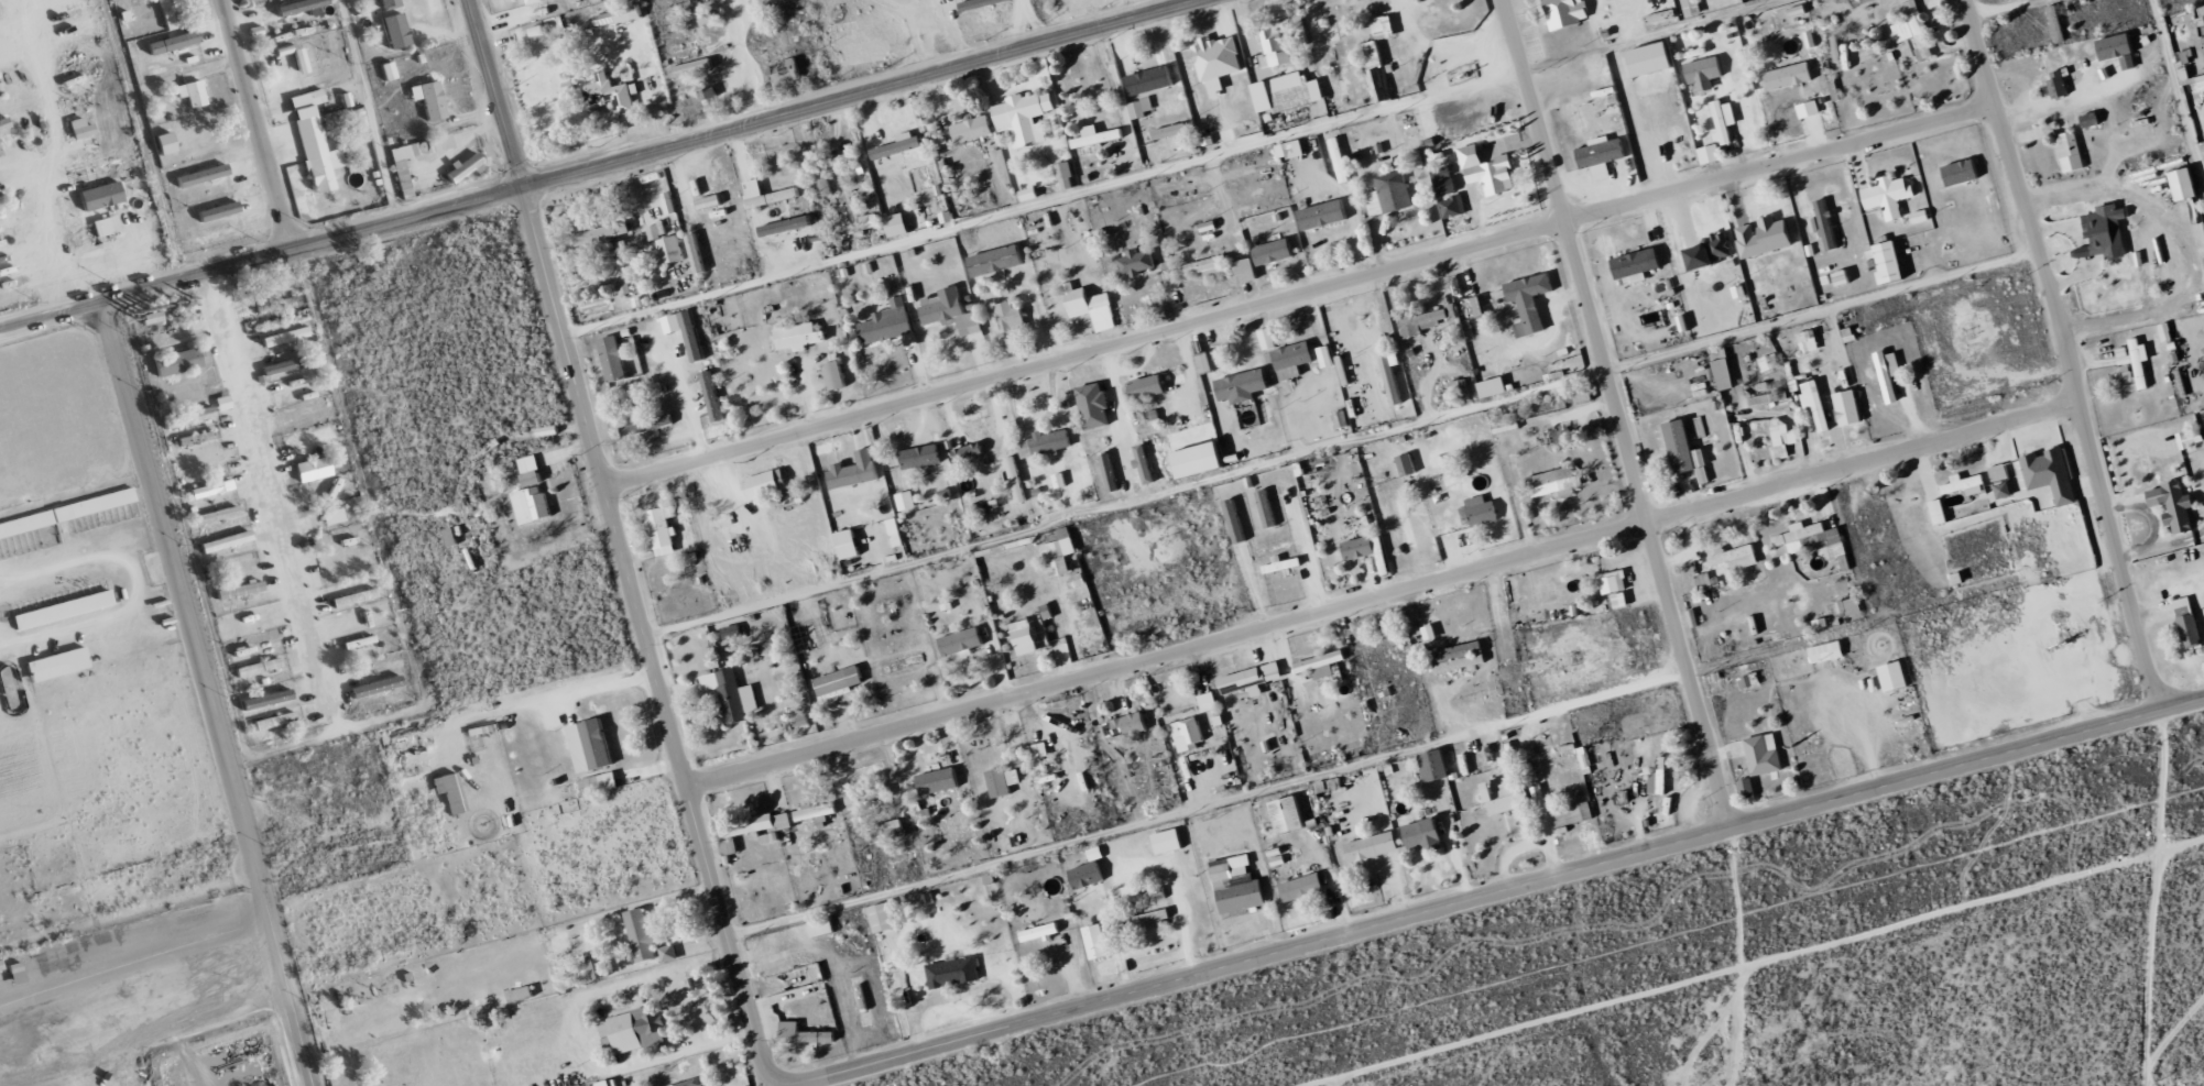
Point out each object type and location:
building: (531, 0)
building: (1611, 0)
building: (389, 3)
building: (981, 3)
building: (299, 6)
road: (1119, 7)
building: (1692, 8)
building: (1565, 12)
building: (168, 14)
building: (619, 15)
building: (711, 17)
building: (2051, 23)
building: (1384, 26)
building: (1913, 29)
building: (395, 31)
building: (173, 42)
building: (1275, 45)
building: (2110, 48)
road: (740, 57)
building: (1654, 58)
building: (1218, 62)
building: (310, 64)
building: (785, 70)
building: (1375, 72)
building: (1704, 73)
building: (1789, 76)
building: (1149, 80)
building: (2052, 83)
building: (192, 92)
building: (611, 92)
building: (1288, 92)
building: (429, 99)
building: (1142, 108)
building: (1809, 109)
building: (1026, 117)
building: (2083, 119)
building: (1724, 121)
building: (3, 124)
road: (254, 124)
building: (1428, 124)
building: (80, 128)
building: (973, 128)
building: (1171, 131)
building: (1095, 136)
building: (314, 142)
building: (439, 143)
building: (898, 147)
building: (1290, 149)
building: (2064, 151)
road: (56, 154)
building: (1602, 155)
building: (1340, 157)
road: (589, 164)
building: (465, 166)
building: (1487, 171)
building: (1962, 172)
building: (201, 175)
building: (1066, 175)
building: (402, 177)
building: (1444, 180)
building: (2175, 184)
building: (766, 194)
building: (1389, 194)
building: (100, 195)
building: (1889, 195)
building: (709, 201)
building: (1452, 206)
building: (218, 211)
building: (1323, 215)
building: (869, 221)
building: (1824, 223)
building: (897, 224)
building: (105, 226)
building: (786, 226)
building: (655, 231)
building: (2102, 231)
building: (602, 233)
building: (1765, 237)
building: (670, 249)
building: (1275, 252)
building: (1710, 252)
building: (697, 253)
building: (996, 260)
building: (1137, 262)
building: (1890, 262)
building: (1637, 265)
building: (1211, 266)
building: (1246, 270)
building: (1843, 277)
road: (1299, 296)
building: (1530, 301)
building: (1089, 303)
building: (950, 310)
building: (1011, 316)
building: (1425, 321)
building: (692, 336)
building: (284, 337)
building: (799, 337)
building: (1267, 338)
building: (1809, 341)
road: (2067, 354)
building: (613, 359)
building: (2130, 359)
building: (1292, 360)
building: (177, 362)
building: (1769, 363)
building: (280, 366)
building: (1723, 369)
building: (1889, 373)
building: (836, 375)
building: (2119, 375)
building: (1393, 376)
building: (1243, 385)
building: (1147, 387)
building: (1493, 387)
building: (712, 396)
building: (1814, 402)
building: (1094, 406)
building: (1848, 407)
road: (1617, 415)
building: (188, 417)
building: (646, 425)
building: (1783, 438)
building: (2191, 438)
building: (1047, 442)
building: (969, 451)
building: (1687, 451)
building: (198, 457)
building: (920, 457)
building: (1200, 460)
building: (1145, 463)
building: (1407, 464)
building: (313, 469)
building: (855, 471)
building: (1110, 472)
building: (1998, 472)
building: (2051, 474)
building: (1016, 480)
building: (1556, 483)
building: (766, 484)
building: (1965, 484)
building: (211, 489)
building: (2004, 490)
building: (532, 493)
road: (274, 497)
building: (906, 501)
building: (2174, 506)
building: (1267, 508)
building: (1482, 511)
building: (66, 512)
building: (1940, 512)
building: (216, 515)
building: (332, 516)
building: (1235, 520)
building: (1407, 524)
road: (613, 526)
building: (663, 530)
building: (896, 533)
building: (1813, 540)
building: (226, 541)
building: (848, 544)
building: (1361, 548)
building: (1060, 552)
building: (1737, 557)
building: (1284, 564)
building: (350, 571)
road: (176, 579)
building: (1615, 588)
building: (239, 591)
building: (1548, 591)
road: (1383, 594)
building: (354, 597)
building: (1848, 606)
building: (2183, 606)
building: (63, 610)
building: (2191, 630)
building: (731, 632)
building: (1024, 637)
building: (359, 641)
building: (961, 641)
building: (1826, 651)
building: (1459, 657)
building: (57, 665)
building: (1321, 665)
building: (258, 667)
building: (1895, 677)
building: (1243, 680)
building: (1749, 680)
building: (839, 683)
building: (375, 687)
building: (731, 694)
building: (1209, 702)
road: (522, 703)
building: (274, 721)
building: (1126, 726)
building: (1189, 734)
building: (591, 745)
building: (1764, 755)
building: (1039, 756)
building: (1436, 766)
building: (1659, 779)
building: (938, 781)
building: (1003, 782)
building: (600, 783)
building: (1747, 789)
building: (451, 793)
building: (869, 796)
building: (1506, 798)
building: (816, 813)
building: (1573, 814)
building: (756, 825)
building: (887, 831)
building: (1425, 835)
building: (768, 837)
building: (1168, 842)
building: (729, 847)
building: (1373, 847)
building: (1087, 876)
building: (1302, 887)
building: (1235, 889)
road: (257, 890)
building: (1125, 895)
building: (1158, 895)
road: (1474, 900)
building: (883, 918)
building: (1149, 919)
building: (821, 928)
building: (1040, 932)
building: (643, 935)
building: (1100, 942)
building: (669, 953)
road: (131, 964)
building: (598, 965)
building: (952, 973)
road: (284, 1005)
building: (635, 1031)
road: (571, 1034)
building: (804, 1034)
building: (609, 1083)
road: (774, 1083)

